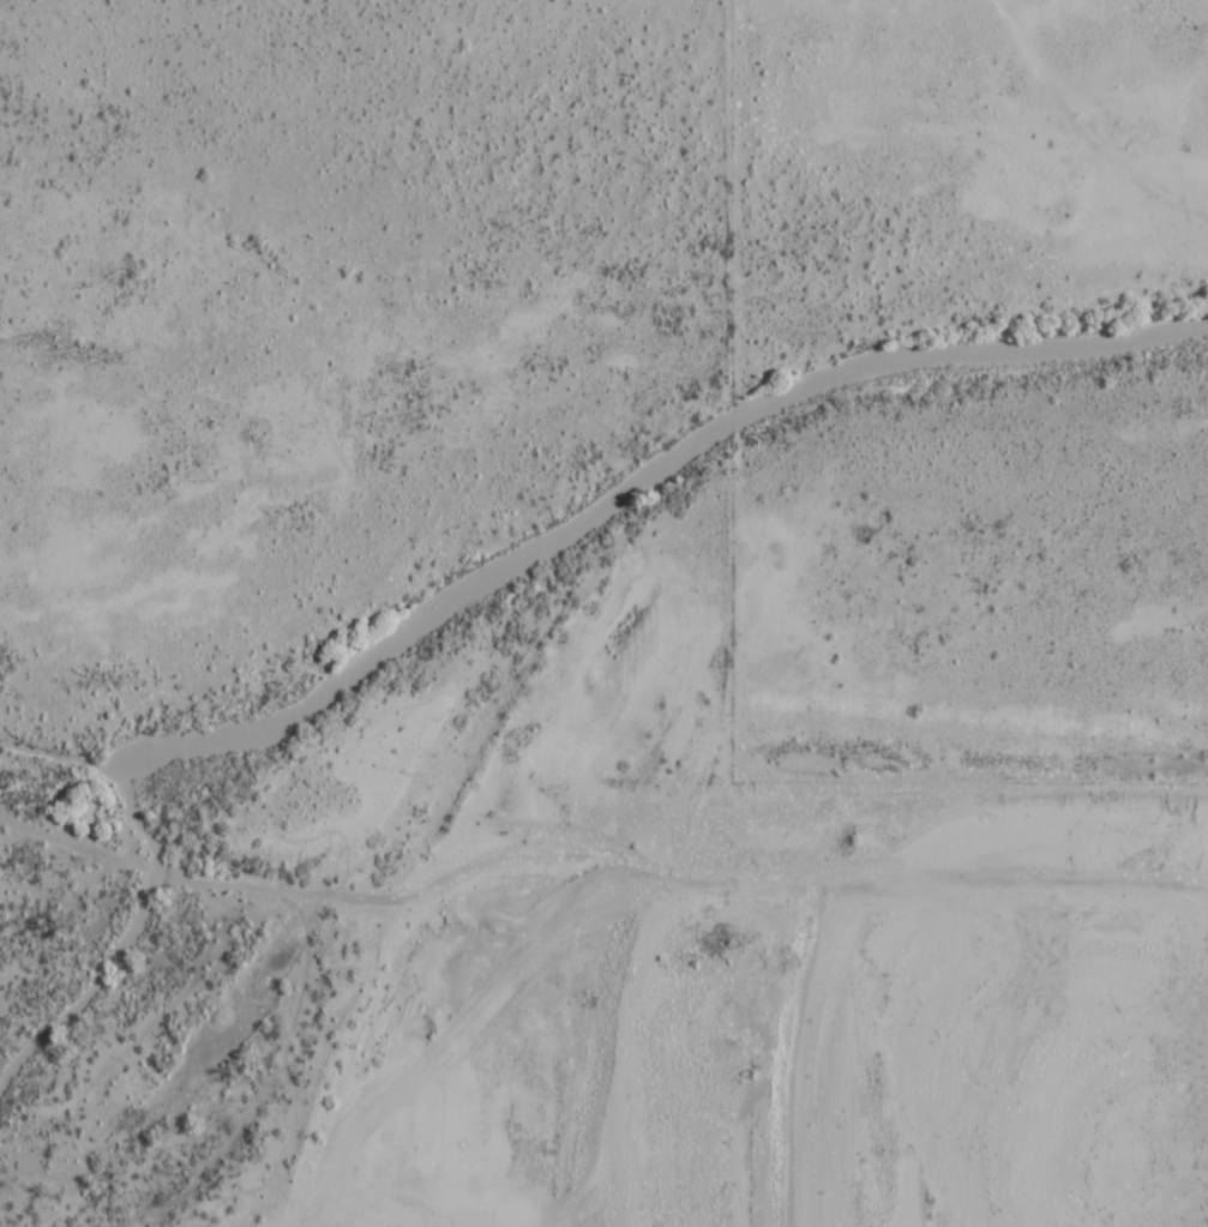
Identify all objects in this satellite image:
river: (504, 553)

